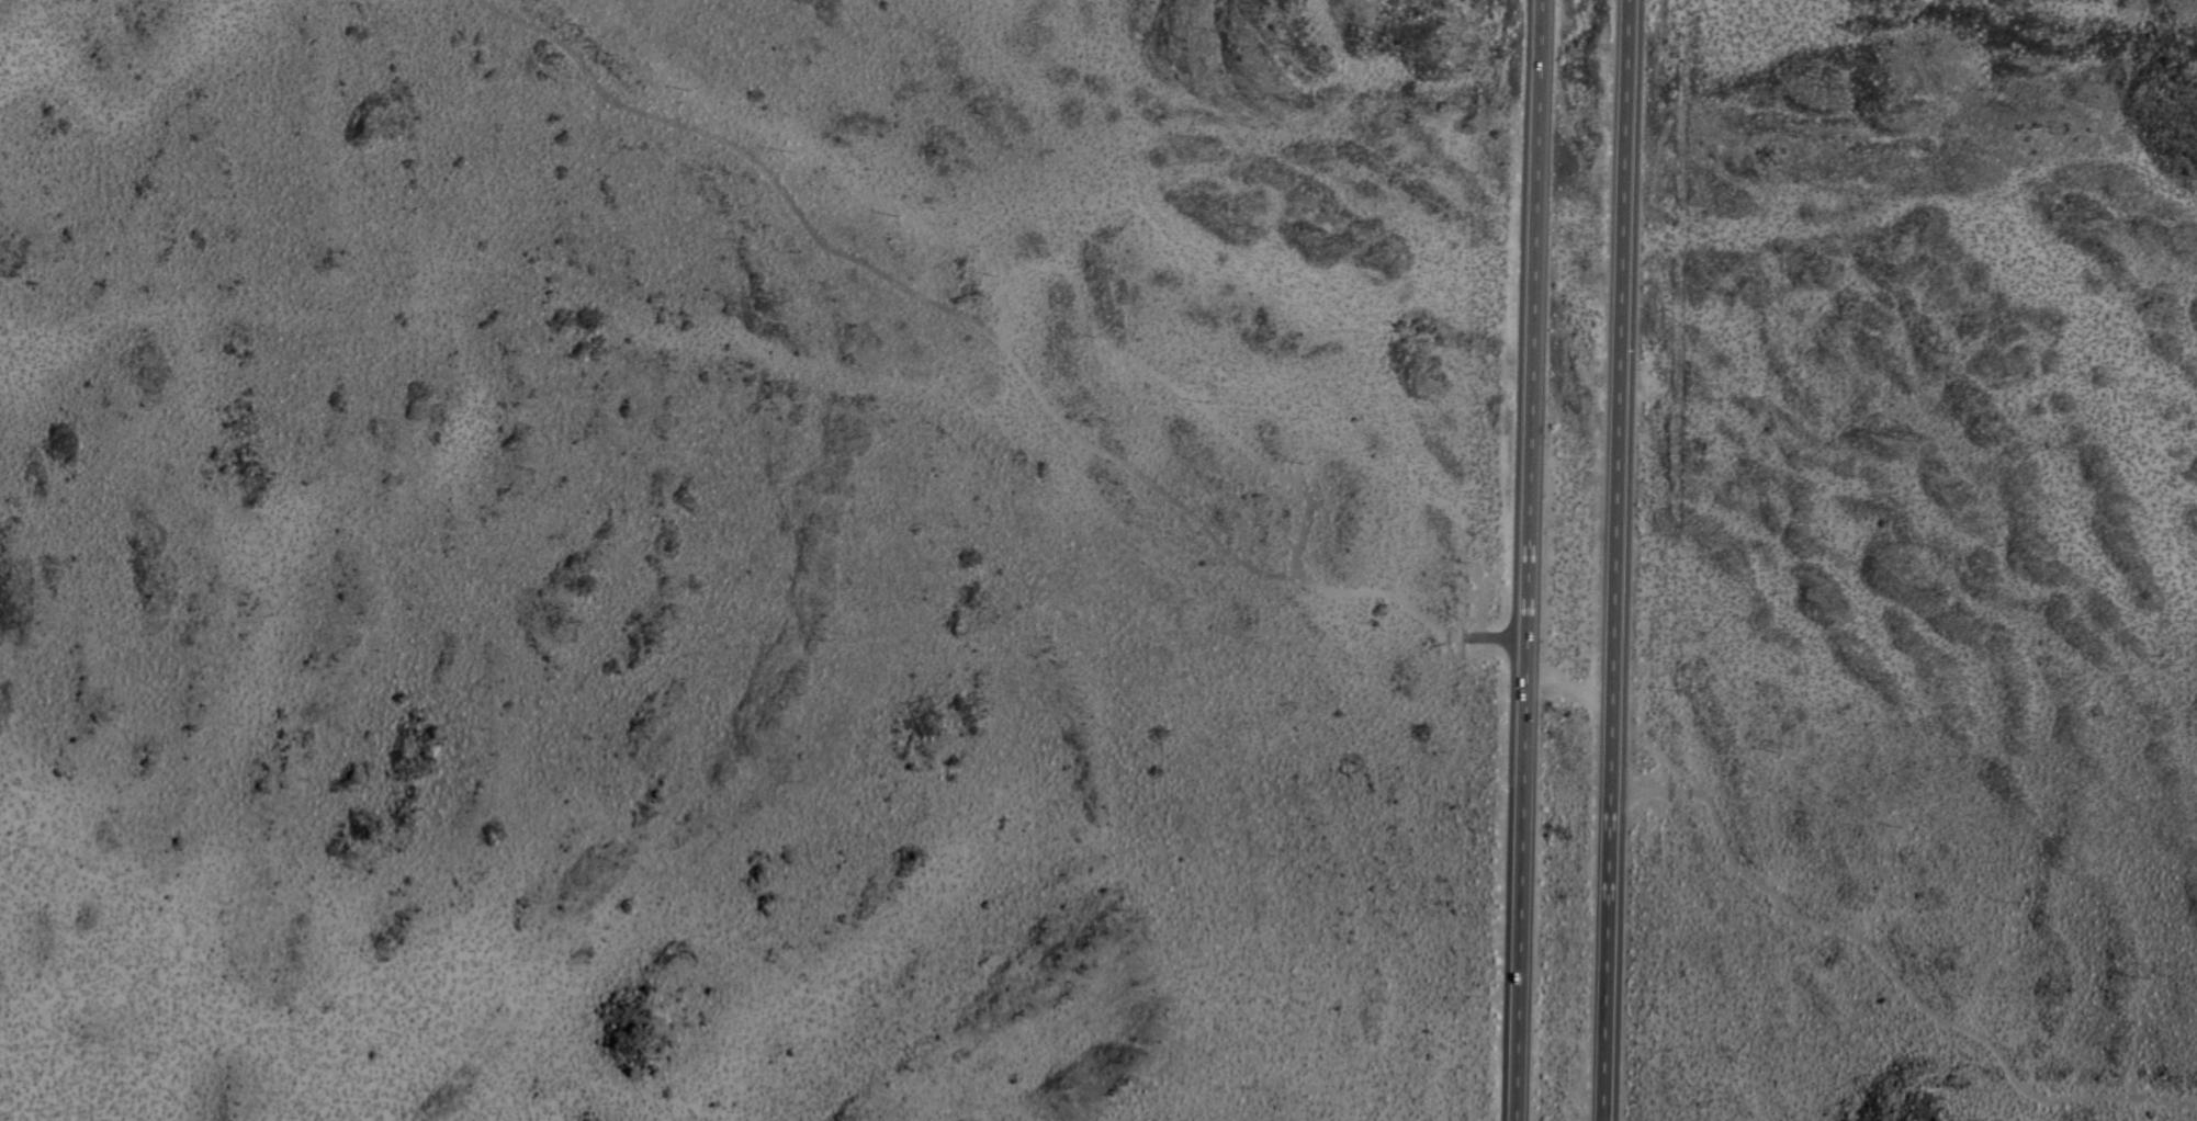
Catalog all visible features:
road: (1533, 320)
road: (967, 331)
road: (1615, 559)
road: (1495, 638)
road: (1568, 682)
road: (1648, 789)
road: (1520, 880)
road: (1912, 1000)

